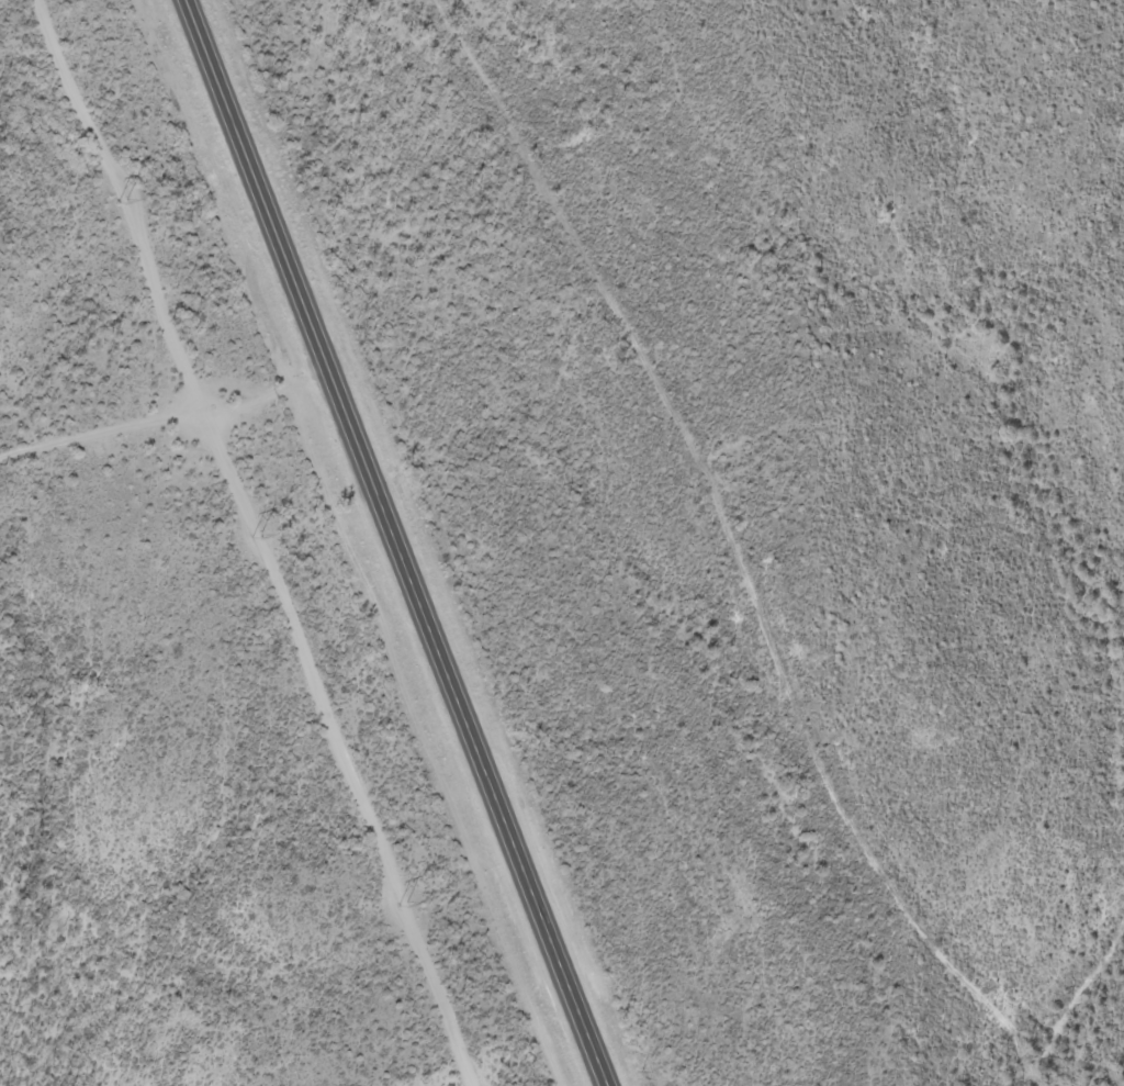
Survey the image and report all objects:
power tower: (122, 203)
road: (165, 417)
power tower: (256, 538)
road: (394, 544)
road: (737, 548)
power tower: (403, 906)

